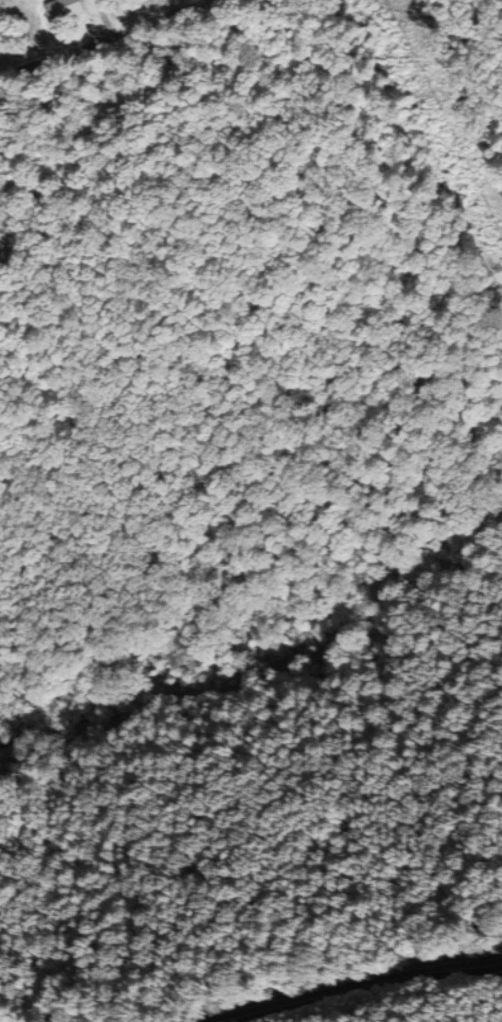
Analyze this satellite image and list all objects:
building: (65, 9)
road: (56, 86)
road: (359, 989)

